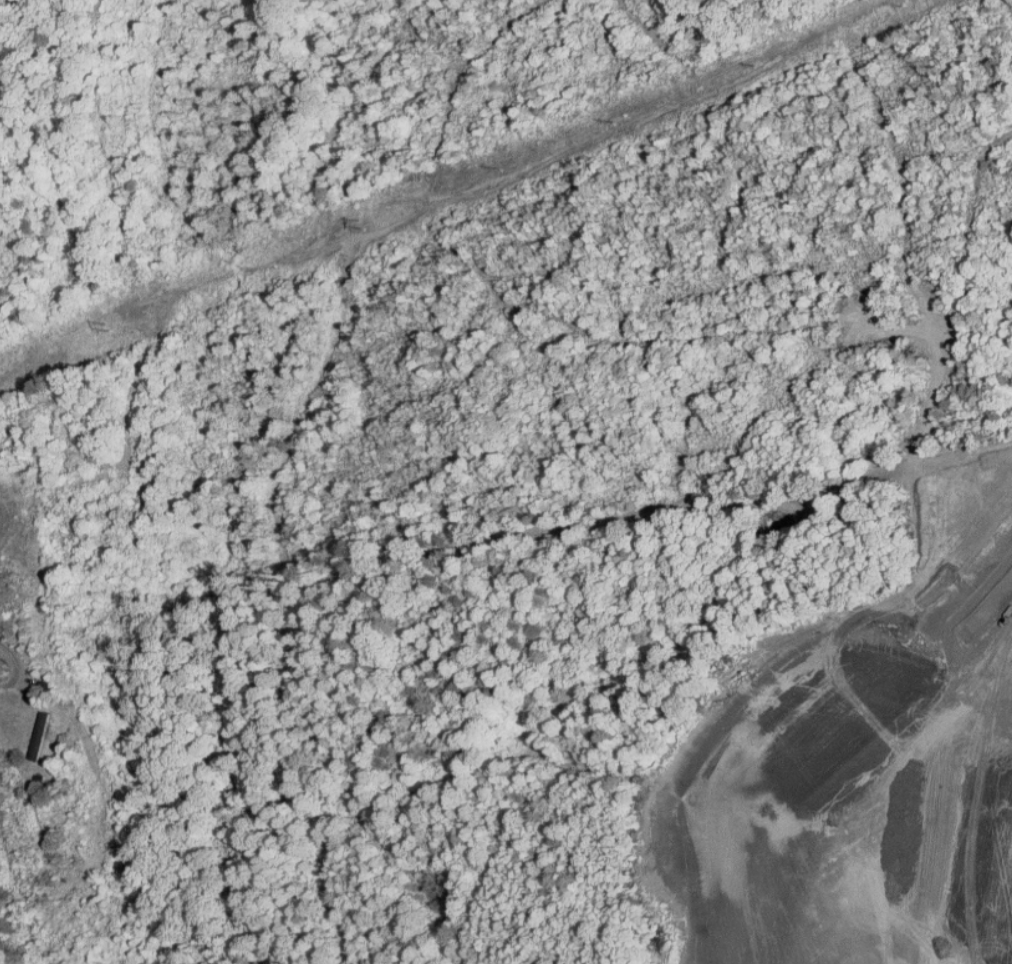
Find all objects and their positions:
road: (18, 667)
building: (30, 730)

